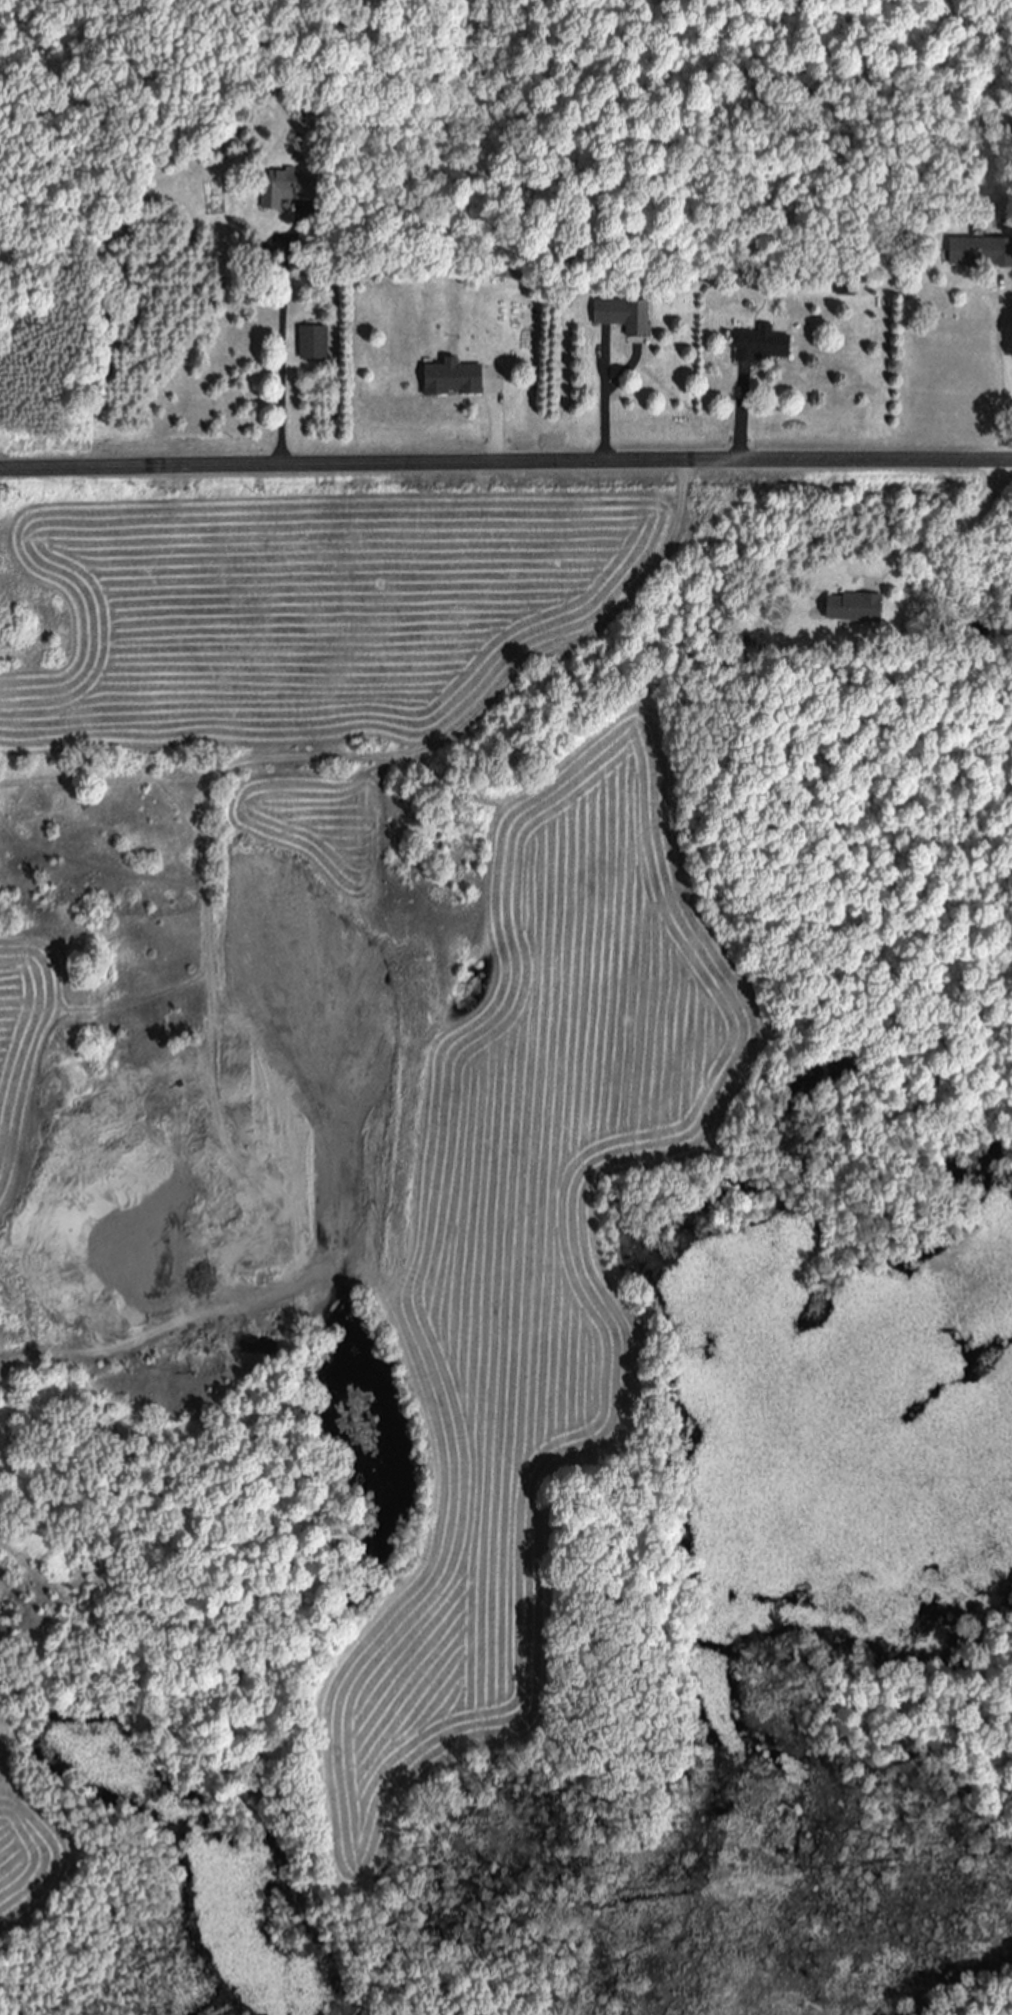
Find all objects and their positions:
building: (285, 191)
building: (980, 254)
building: (622, 317)
building: (312, 345)
building: (762, 346)
road: (279, 351)
road: (1007, 379)
building: (451, 380)
road: (602, 404)
road: (739, 419)
road: (497, 429)
road: (505, 463)
road: (952, 532)
building: (853, 609)
road: (198, 884)
quarry: (135, 1278)

